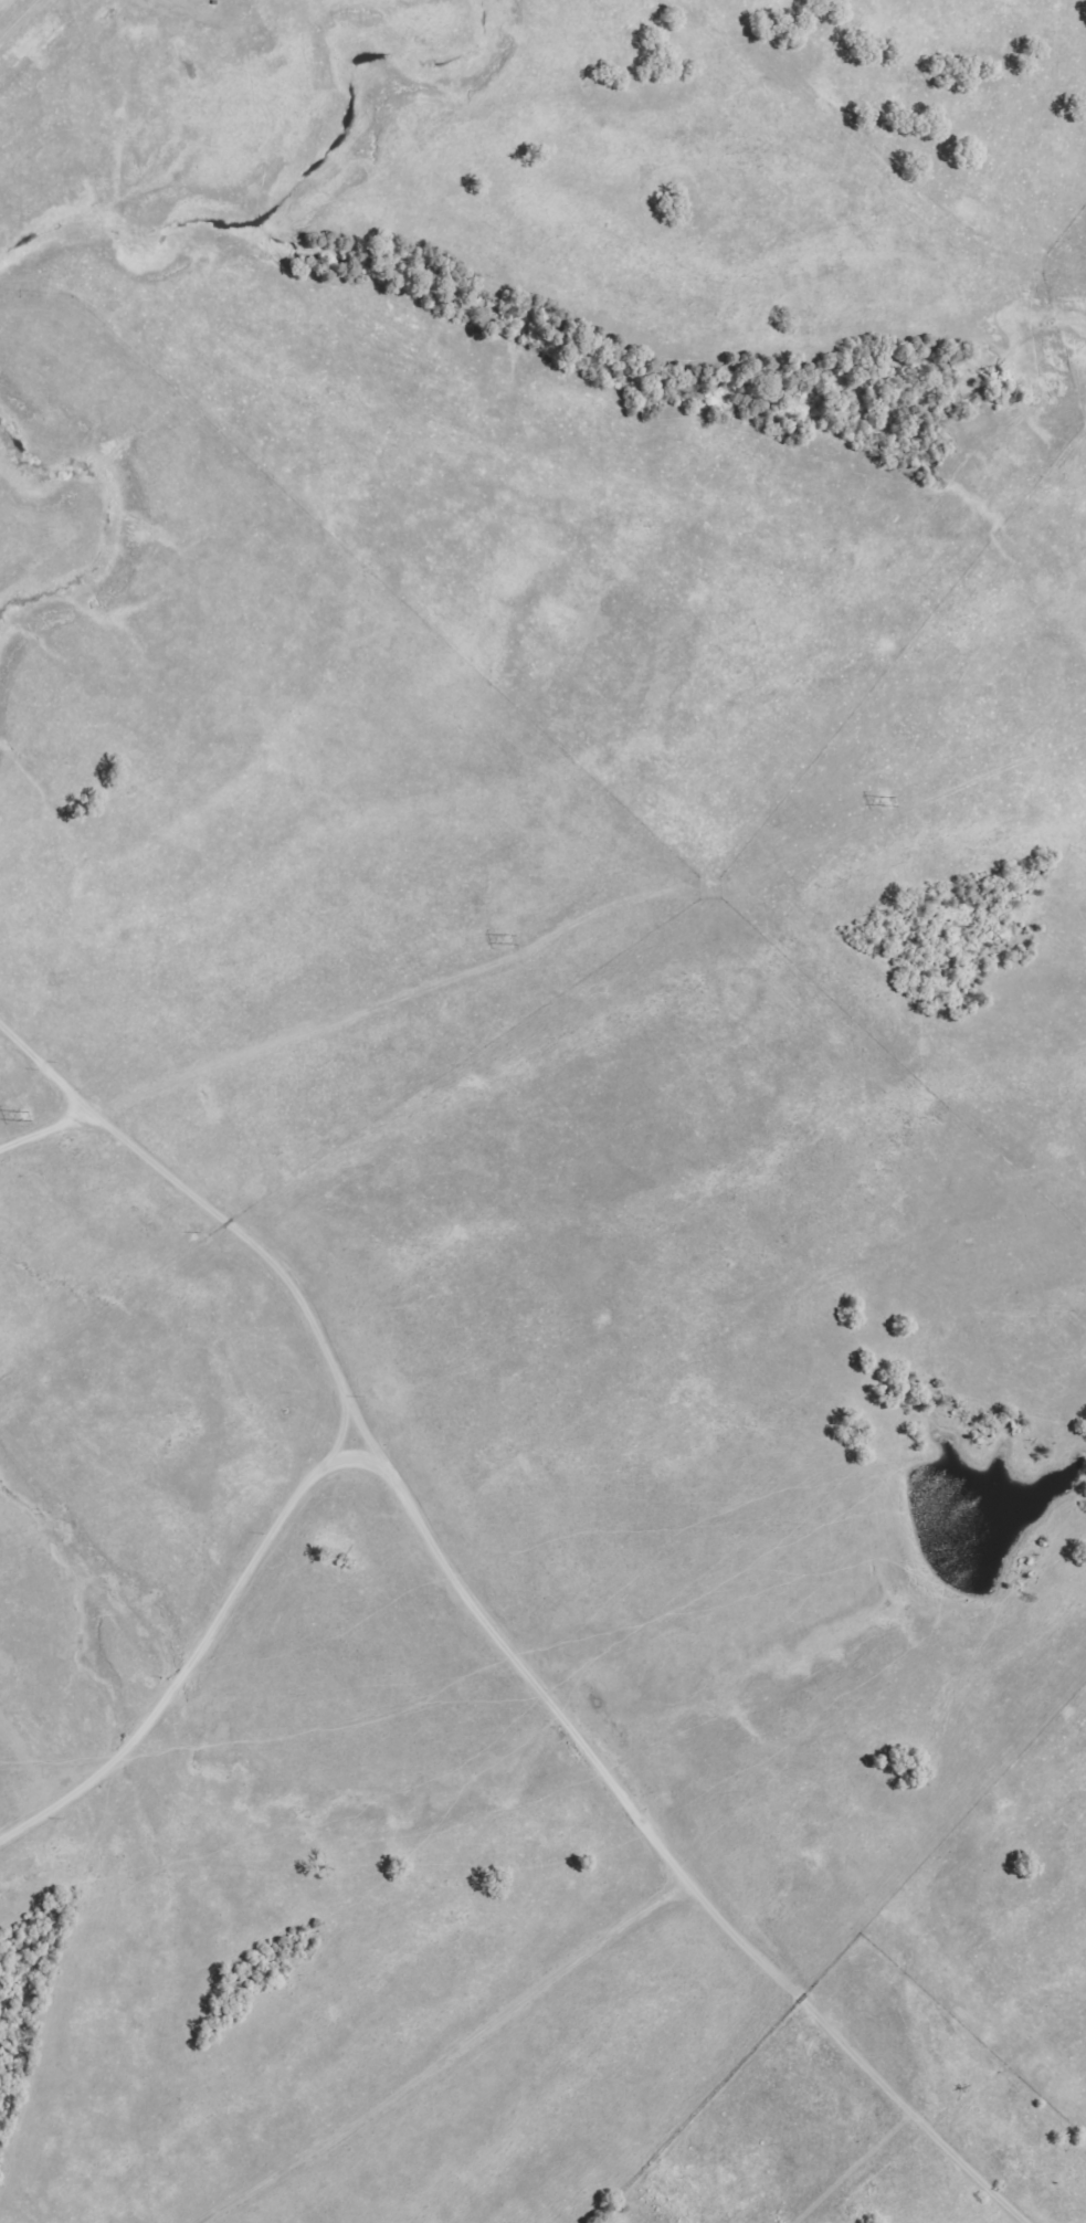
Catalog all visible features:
road: (25, 19)
power tower: (900, 803)
power tower: (509, 944)
road: (59, 1085)
power tower: (30, 1117)
road: (205, 1640)
road: (513, 1645)
road: (449, 2048)

